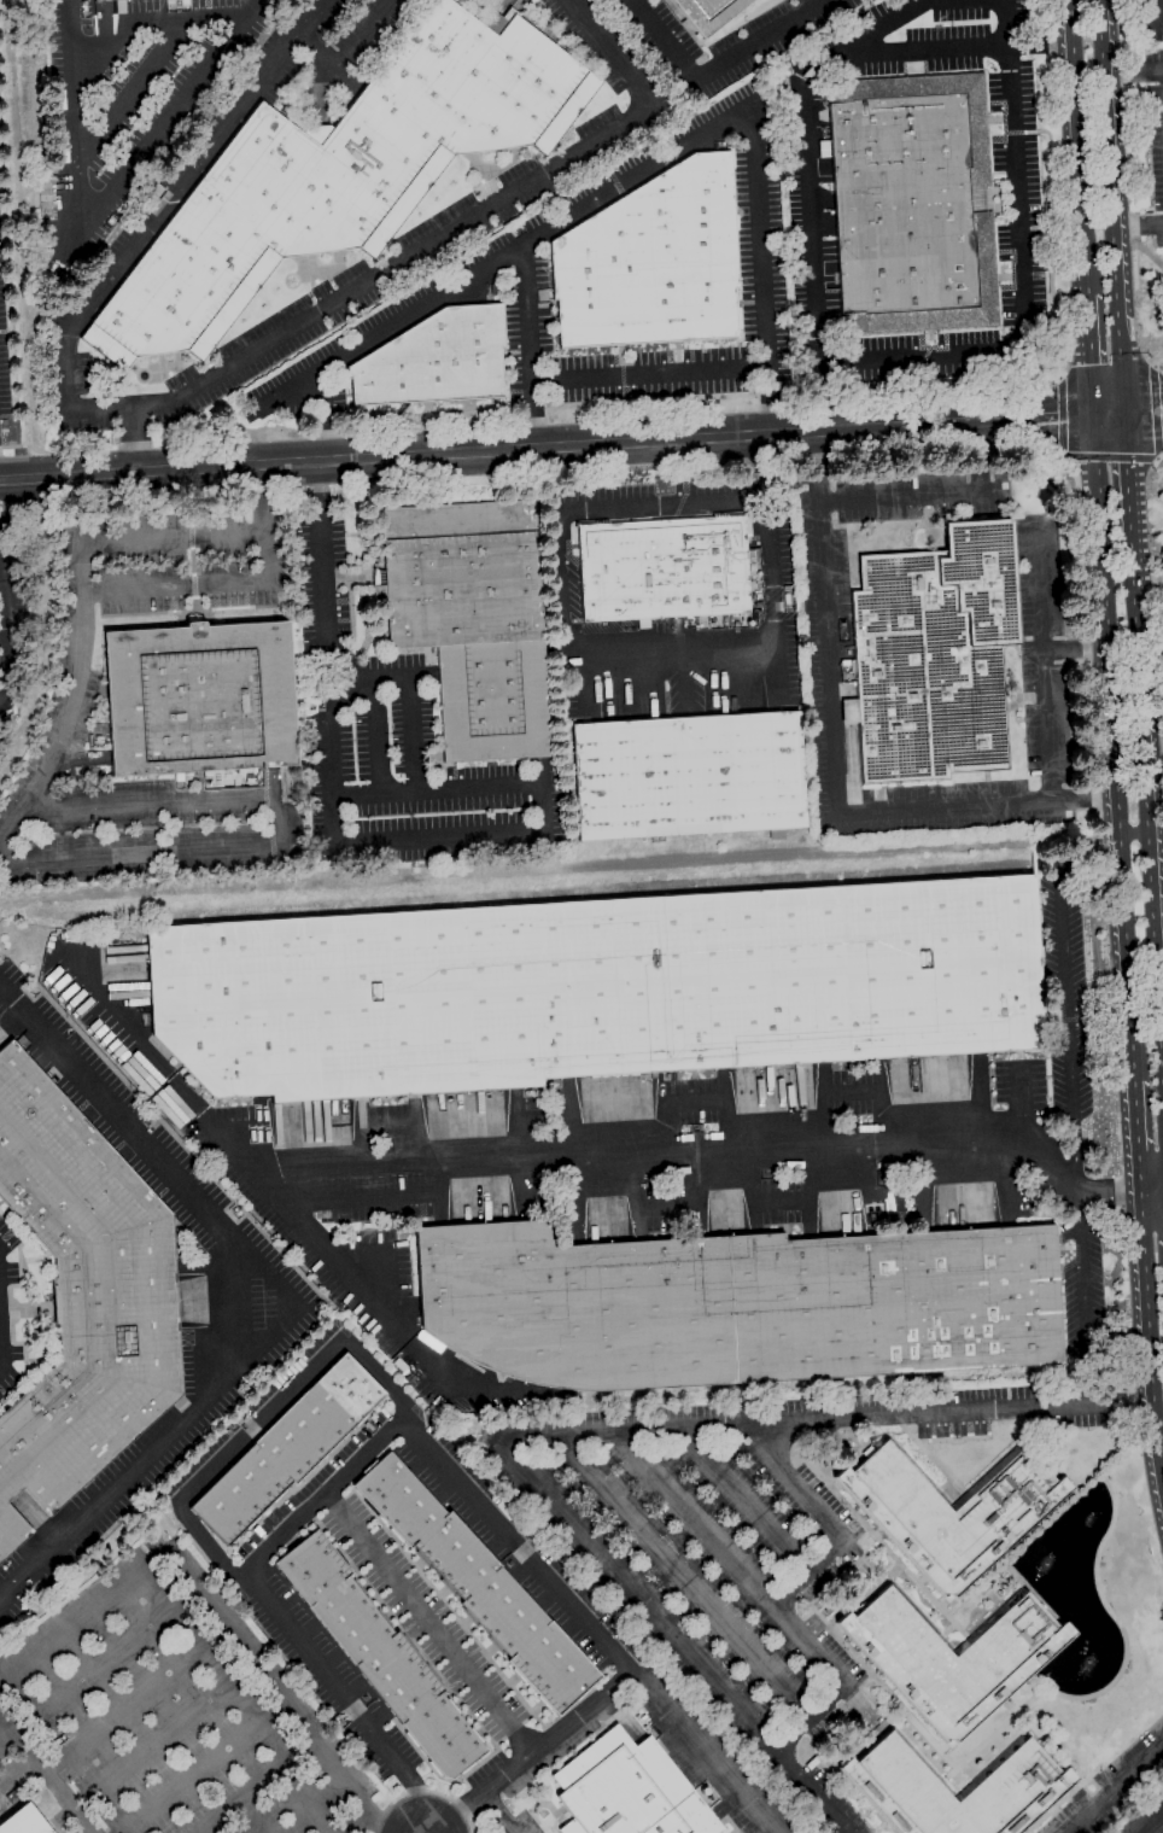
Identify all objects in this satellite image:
building: (101, 0)
road: (1158, 8)
building: (707, 12)
road: (1130, 19)
road: (1046, 23)
road: (1010, 24)
road: (119, 30)
road: (360, 33)
road: (865, 36)
road: (1041, 46)
road: (317, 47)
road: (980, 49)
road: (148, 65)
road: (719, 68)
road: (160, 124)
road: (74, 125)
road: (1079, 146)
road: (752, 157)
building: (339, 174)
building: (911, 204)
road: (1110, 205)
road: (1158, 223)
road: (1132, 226)
building: (651, 262)
road: (410, 309)
road: (1092, 354)
road: (1150, 358)
building: (434, 360)
road: (1158, 362)
road: (1158, 367)
road: (1153, 368)
road: (1052, 374)
road: (212, 375)
road: (1057, 376)
road: (282, 387)
road: (767, 399)
road: (1142, 399)
traffic signals: (1123, 411)
road: (1109, 413)
traffic signals: (1095, 414)
road: (323, 415)
road: (1156, 415)
road: (533, 416)
road: (1062, 418)
road: (1142, 421)
road: (132, 442)
road: (1003, 448)
road: (547, 449)
road: (1063, 456)
road: (1110, 459)
road: (1157, 459)
road: (1156, 462)
road: (816, 468)
road: (1126, 478)
road: (263, 498)
road: (911, 498)
road: (684, 503)
building: (662, 568)
road: (562, 579)
road: (201, 582)
road: (81, 615)
building: (471, 620)
road: (4, 634)
road: (732, 637)
building: (933, 656)
road: (343, 659)
building: (199, 699)
road: (409, 705)
road: (372, 736)
road: (1114, 747)
building: (688, 776)
road: (1153, 794)
road: (1145, 798)
road: (547, 808)
road: (929, 812)
road: (271, 825)
road: (1133, 833)
road: (1156, 872)
building: (596, 988)
road: (1064, 997)
road: (1161, 1017)
road: (1162, 1072)
road: (1135, 1115)
road: (560, 1156)
road: (1139, 1172)
road: (1152, 1192)
road: (333, 1259)
building: (82, 1296)
road: (230, 1298)
building: (736, 1304)
road: (287, 1315)
road: (1082, 1317)
road: (1149, 1336)
road: (340, 1343)
railway: (443, 1362)
road: (448, 1384)
road: (825, 1415)
building: (287, 1448)
road: (327, 1489)
road: (744, 1500)
building: (949, 1513)
road: (826, 1517)
road: (683, 1578)
building: (478, 1584)
road: (766, 1594)
road: (429, 1618)
road: (195, 1636)
road: (670, 1638)
building: (379, 1654)
building: (952, 1659)
road: (70, 1687)
road: (118, 1706)
road: (135, 1722)
road: (147, 1741)
road: (530, 1750)
road: (14, 1771)
road: (188, 1777)
road: (42, 1780)
road: (1112, 1788)
building: (627, 1791)
building: (1015, 1791)
road: (251, 1792)
road: (423, 1792)
road: (498, 1811)
road: (256, 1816)
building: (23, 1821)
road: (1153, 1825)
road: (204, 1832)

